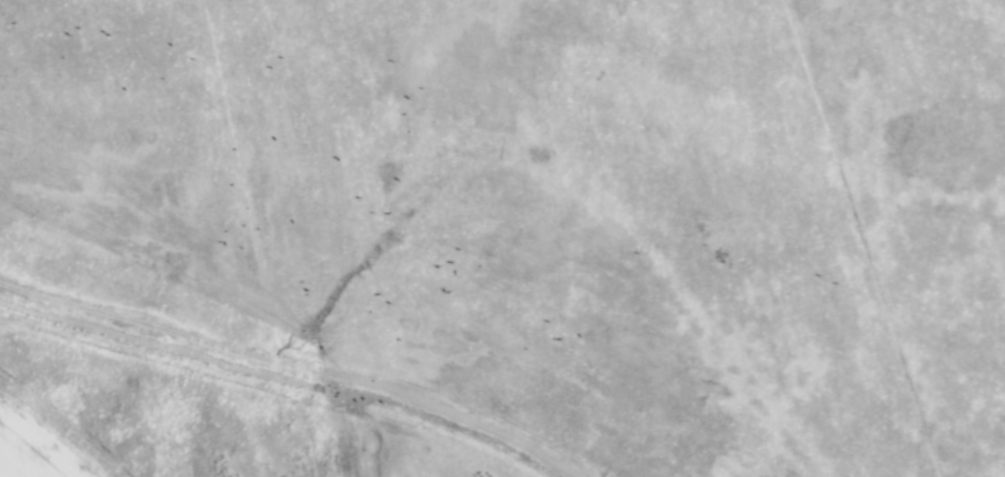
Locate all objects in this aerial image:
crop: (23, 452)

